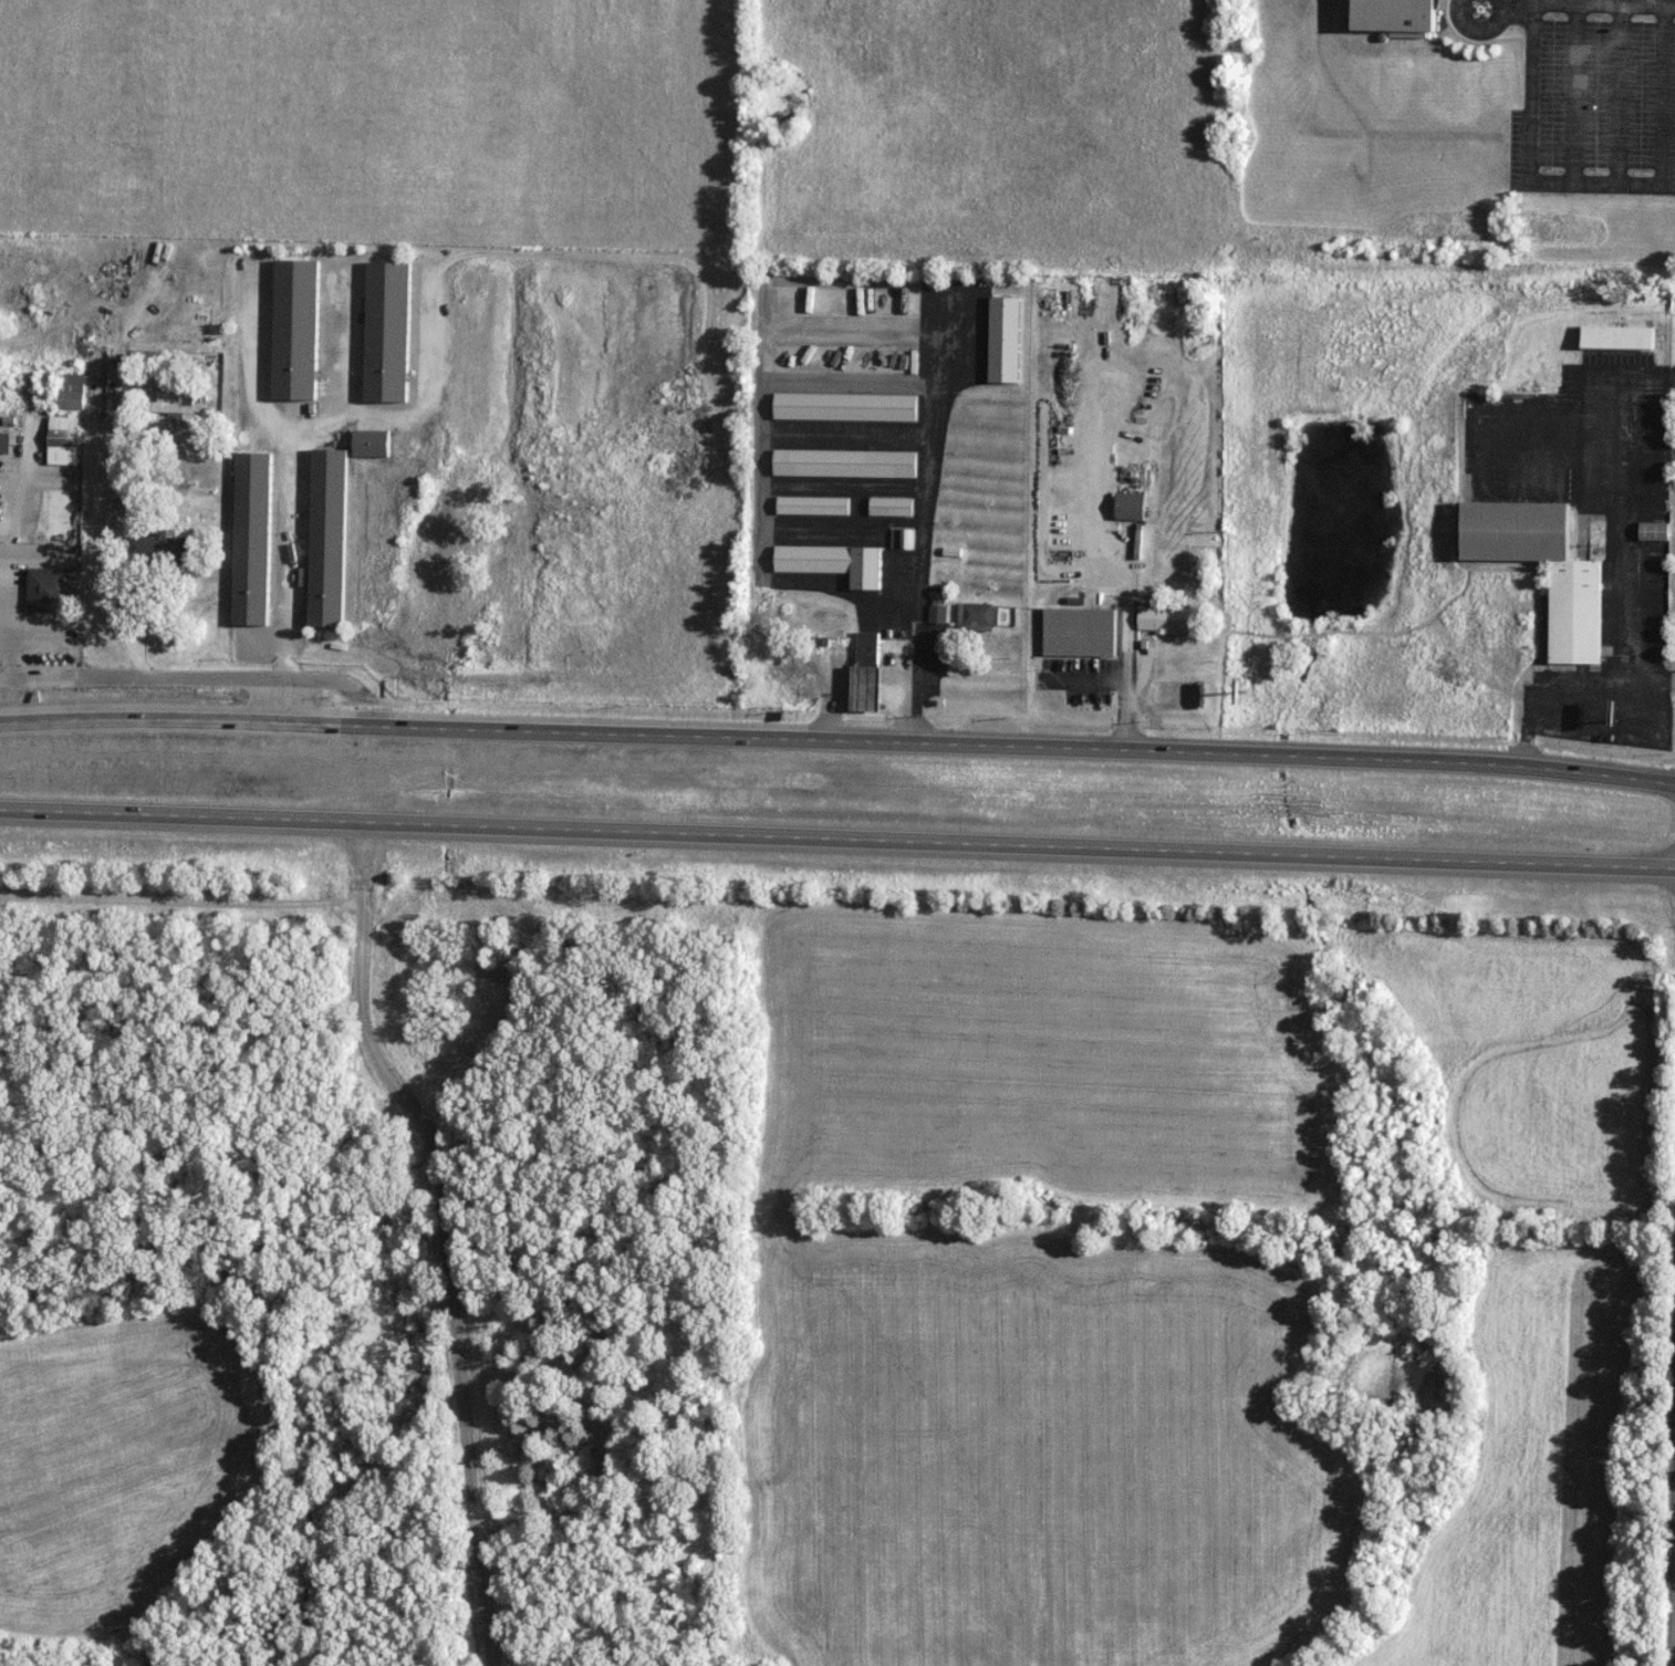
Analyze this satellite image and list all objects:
road: (1608, 2)
road: (1640, 2)
road: (1669, 6)
building: (1400, 14)
road: (1593, 180)
building: (295, 330)
building: (388, 332)
building: (1619, 337)
building: (1006, 340)
building: (73, 392)
building: (180, 406)
building: (846, 406)
building: (65, 436)
building: (6, 442)
building: (374, 442)
building: (845, 464)
road: (287, 498)
building: (813, 506)
building: (892, 507)
building: (1132, 507)
building: (330, 538)
building: (253, 539)
building: (902, 539)
building: (162, 551)
building: (834, 563)
building: (54, 590)
road: (1125, 605)
building: (1577, 612)
building: (938, 614)
building: (979, 615)
building: (1169, 619)
building: (1080, 633)
building: (868, 671)
road: (137, 675)
road: (837, 741)
road: (837, 837)
road: (449, 1266)
road: (1674, 1649)

